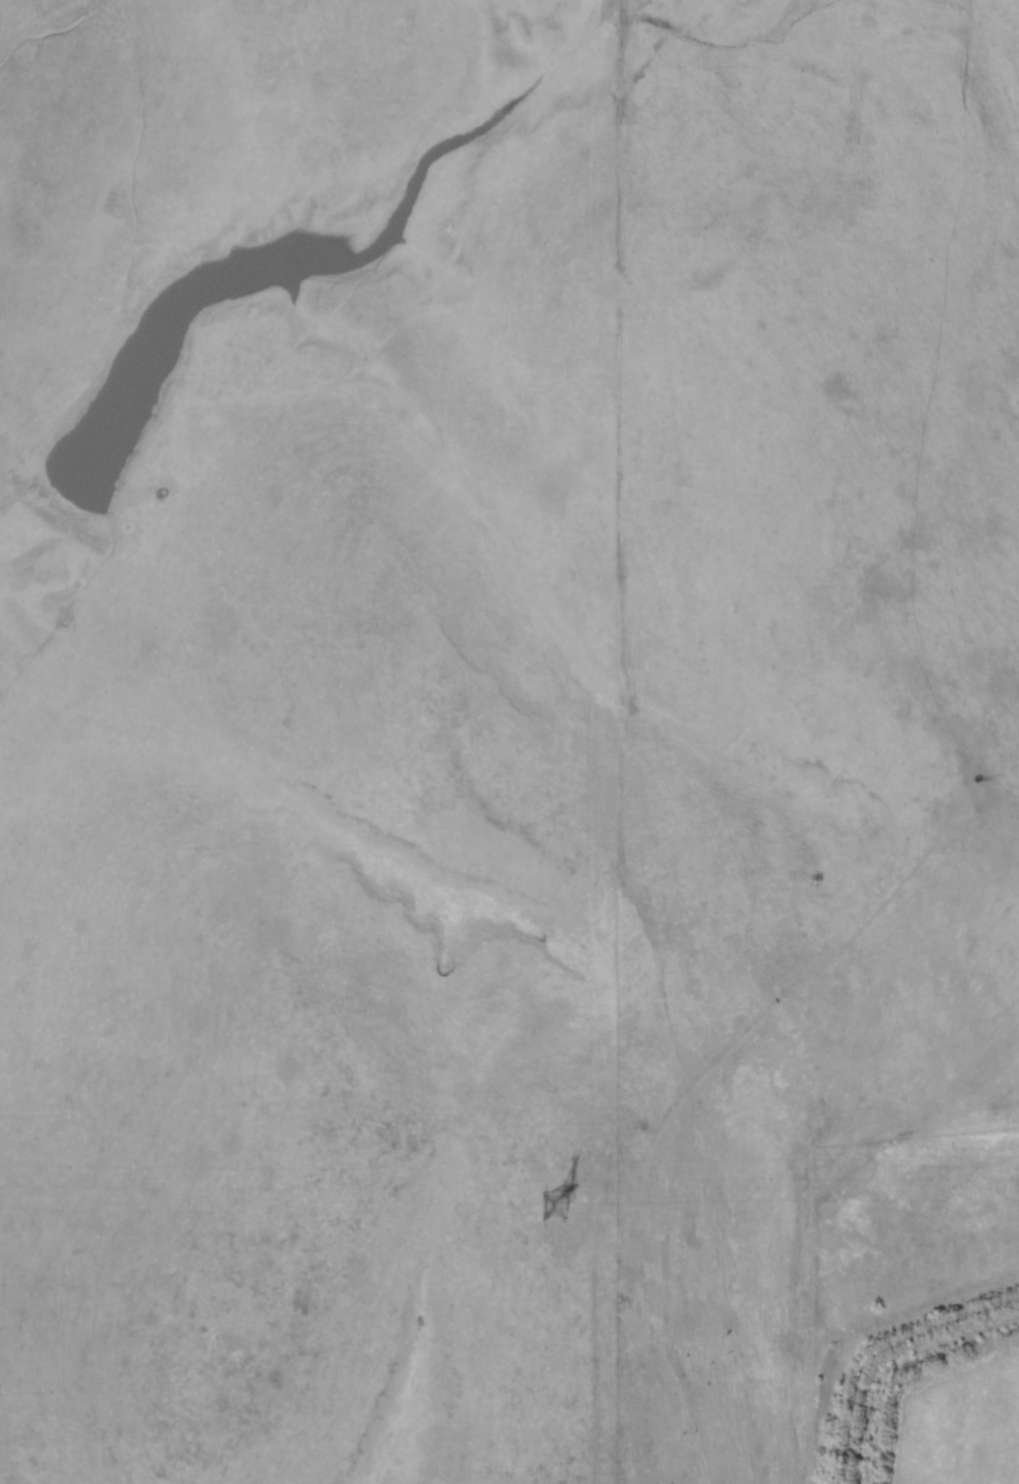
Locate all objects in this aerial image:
power tower: (553, 1206)

